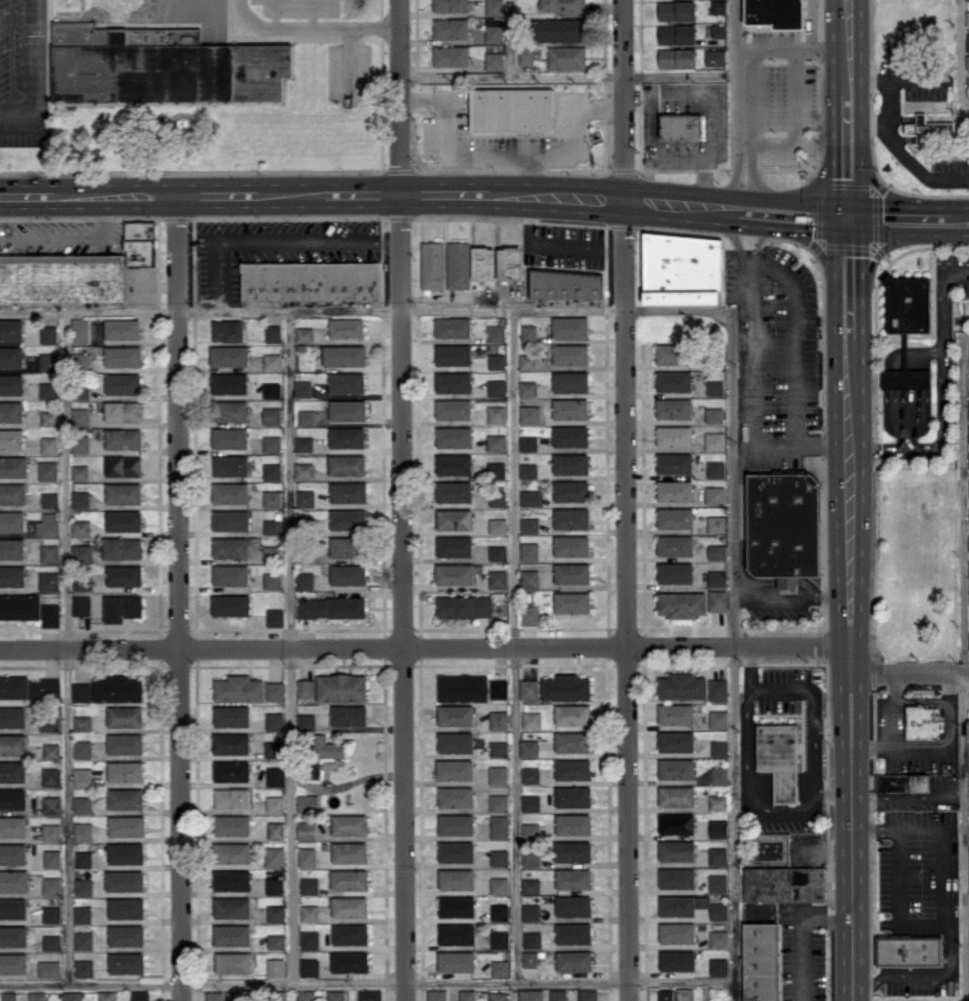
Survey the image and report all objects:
building: (450, 5)
road: (290, 6)
building: (564, 6)
building: (494, 7)
building: (676, 10)
building: (775, 11)
road: (313, 12)
road: (274, 16)
building: (967, 18)
road: (809, 24)
road: (313, 25)
building: (450, 27)
building: (490, 29)
building: (559, 29)
building: (718, 30)
building: (677, 33)
road: (511, 37)
building: (967, 42)
road: (845, 47)
road: (790, 48)
road: (959, 51)
road: (347, 54)
building: (450, 55)
road: (35, 56)
building: (525, 56)
building: (566, 57)
building: (677, 57)
building: (715, 57)
building: (493, 60)
building: (967, 61)
building: (162, 65)
road: (560, 73)
road: (735, 73)
road: (893, 78)
road: (399, 97)
road: (753, 97)
road: (623, 99)
road: (887, 101)
road: (964, 103)
building: (512, 109)
road: (17, 112)
road: (795, 121)
building: (680, 124)
building: (929, 129)
road: (576, 130)
road: (903, 152)
road: (677, 153)
road: (456, 154)
road: (846, 159)
road: (731, 175)
road: (755, 178)
traffic signals: (872, 179)
road: (887, 190)
road: (448, 194)
road: (291, 195)
road: (362, 195)
road: (117, 196)
road: (218, 196)
road: (28, 197)
road: (619, 198)
road: (794, 215)
road: (893, 221)
road: (955, 221)
traffic signals: (846, 222)
road: (732, 234)
road: (70, 236)
road: (760, 237)
road: (196, 239)
road: (291, 239)
road: (383, 240)
building: (140, 242)
road: (551, 246)
traffic signals: (817, 248)
traffic signals: (878, 252)
road: (821, 258)
road: (872, 261)
building: (483, 263)
building: (509, 263)
building: (432, 264)
building: (458, 264)
building: (682, 268)
road: (215, 276)
building: (62, 277)
road: (846, 279)
building: (309, 280)
building: (566, 284)
building: (908, 304)
road: (364, 312)
building: (570, 326)
building: (346, 327)
building: (453, 327)
building: (122, 328)
building: (11, 329)
building: (80, 330)
building: (227, 330)
building: (272, 333)
building: (495, 333)
building: (529, 333)
road: (967, 333)
building: (48, 334)
building: (304, 334)
road: (792, 339)
building: (672, 353)
building: (453, 354)
building: (570, 354)
building: (123, 355)
building: (229, 355)
building: (344, 355)
building: (11, 356)
building: (81, 359)
building: (48, 361)
building: (272, 361)
building: (527, 361)
building: (905, 378)
building: (673, 380)
building: (453, 381)
building: (570, 381)
building: (346, 382)
building: (11, 383)
building: (123, 383)
building: (229, 383)
building: (496, 387)
building: (715, 387)
building: (302, 388)
building: (527, 388)
building: (48, 389)
building: (271, 389)
road: (942, 391)
road: (751, 400)
building: (968, 404)
building: (570, 408)
building: (673, 408)
building: (348, 409)
building: (453, 409)
building: (123, 410)
building: (231, 410)
building: (11, 411)
building: (80, 414)
building: (529, 414)
building: (714, 414)
building: (272, 415)
building: (306, 416)
building: (49, 418)
building: (968, 433)
building: (673, 435)
building: (346, 436)
building: (453, 436)
building: (570, 436)
building: (229, 437)
building: (11, 438)
building: (123, 438)
building: (714, 440)
building: (496, 442)
building: (527, 442)
building: (80, 443)
building: (272, 443)
building: (304, 443)
building: (49, 444)
building: (968, 458)
building: (674, 462)
building: (570, 463)
building: (346, 464)
building: (454, 464)
building: (123, 465)
building: (230, 465)
building: (13, 466)
building: (715, 468)
building: (48, 470)
building: (271, 470)
building: (304, 470)
building: (496, 470)
building: (527, 470)
building: (79, 472)
building: (570, 490)
building: (674, 490)
building: (348, 491)
building: (453, 491)
building: (230, 492)
building: (12, 493)
building: (123, 493)
building: (714, 495)
building: (530, 497)
building: (80, 498)
building: (272, 498)
building: (305, 498)
building: (497, 498)
building: (49, 499)
building: (571, 517)
building: (674, 517)
building: (231, 519)
building: (347, 519)
building: (454, 519)
building: (11, 520)
building: (123, 520)
building: (783, 522)
building: (715, 523)
building: (47, 524)
building: (497, 525)
building: (529, 525)
building: (272, 526)
building: (80, 527)
building: (968, 539)
building: (571, 545)
building: (674, 545)
building: (345, 546)
building: (454, 546)
building: (121, 547)
building: (230, 547)
building: (11, 548)
building: (529, 550)
building: (716, 551)
building: (272, 552)
building: (497, 552)
building: (49, 553)
building: (82, 553)
building: (968, 568)
building: (571, 572)
building: (674, 572)
building: (347, 573)
building: (456, 573)
building: (230, 574)
building: (12, 575)
building: (123, 575)
building: (497, 578)
building: (529, 578)
building: (716, 578)
building: (48, 580)
building: (272, 580)
building: (304, 580)
building: (81, 582)
road: (790, 595)
road: (401, 597)
road: (178, 598)
road: (626, 599)
building: (717, 600)
building: (572, 602)
building: (681, 603)
building: (230, 604)
building: (81, 605)
building: (463, 605)
building: (122, 607)
building: (331, 607)
building: (29, 608)
building: (529, 614)
building: (275, 617)
road: (511, 646)
road: (289, 647)
road: (67, 648)
road: (424, 650)
road: (731, 655)
road: (966, 667)
road: (849, 669)
road: (909, 674)
building: (682, 686)
building: (28, 687)
building: (341, 687)
building: (462, 687)
building: (566, 687)
building: (239, 688)
building: (305, 688)
building: (498, 688)
building: (117, 689)
building: (529, 689)
building: (717, 689)
road: (799, 689)
building: (274, 690)
building: (81, 691)
road: (885, 709)
building: (675, 713)
building: (572, 714)
building: (231, 715)
building: (349, 715)
building: (455, 715)
building: (12, 716)
building: (125, 716)
building: (498, 719)
building: (531, 719)
building: (718, 719)
building: (274, 720)
building: (306, 721)
building: (922, 721)
building: (49, 723)
building: (82, 723)
building: (572, 741)
building: (675, 741)
building: (455, 742)
building: (125, 743)
building: (230, 743)
building: (12, 744)
building: (326, 747)
building: (82, 748)
building: (275, 748)
building: (498, 748)
building: (529, 748)
building: (719, 748)
building: (51, 750)
road: (900, 750)
building: (779, 758)
road: (810, 759)
building: (676, 768)
building: (313, 769)
building: (454, 769)
building: (572, 769)
building: (231, 770)
building: (12, 771)
building: (125, 771)
building: (498, 774)
building: (530, 774)
building: (718, 774)
building: (51, 776)
building: (82, 776)
building: (275, 776)
building: (902, 782)
road: (748, 785)
road: (830, 788)
building: (455, 796)
building: (572, 796)
building: (676, 796)
road: (909, 796)
building: (12, 798)
building: (125, 798)
building: (232, 798)
building: (498, 802)
building: (530, 802)
building: (717, 802)
building: (275, 803)
building: (307, 803)
building: (51, 804)
building: (82, 804)
building: (573, 823)
building: (676, 823)
building: (349, 824)
building: (455, 824)
building: (126, 825)
building: (232, 825)
building: (12, 826)
building: (499, 826)
building: (718, 828)
road: (874, 828)
building: (275, 830)
building: (306, 830)
building: (530, 830)
building: (51, 831)
building: (82, 831)
road: (821, 847)
building: (676, 850)
building: (456, 851)
building: (572, 851)
road: (943, 851)
building: (125, 852)
building: (231, 852)
building: (349, 852)
building: (13, 853)
building: (717, 855)
building: (274, 856)
building: (307, 856)
building: (499, 857)
building: (530, 857)
building: (52, 858)
building: (83, 859)
building: (676, 877)
building: (456, 878)
building: (573, 878)
building: (231, 879)
building: (348, 879)
building: (14, 880)
building: (124, 880)
building: (717, 883)
building: (784, 883)
building: (51, 885)
building: (274, 885)
building: (309, 885)
building: (499, 885)
building: (530, 885)
building: (83, 886)
road: (898, 897)
building: (573, 905)
building: (349, 906)
building: (456, 906)
building: (691, 906)
building: (13, 907)
building: (126, 907)
building: (231, 907)
building: (499, 911)
building: (309, 912)
building: (530, 912)
building: (275, 913)
building: (51, 914)
building: (82, 914)
road: (799, 931)
building: (677, 932)
building: (350, 933)
building: (456, 933)
building: (573, 933)
building: (231, 934)
building: (13, 935)
building: (126, 935)
building: (719, 938)
building: (309, 939)
building: (499, 939)
building: (532, 939)
building: (83, 940)
building: (276, 941)
building: (51, 942)
road: (950, 946)
building: (908, 950)
building: (529, 958)
building: (677, 959)
building: (456, 960)
building: (573, 960)
building: (349, 961)
building: (760, 961)
building: (13, 962)
building: (126, 962)
building: (233, 962)
building: (718, 965)
building: (275, 966)
building: (308, 966)
building: (83, 967)
building: (500, 967)
building: (48, 968)
road: (898, 973)
road: (367, 983)
building: (436, 994)
building: (531, 994)
building: (557, 994)
building: (587, 994)
building: (665, 994)
building: (684, 994)
building: (9, 995)
building: (37, 995)
building: (72, 995)
building: (106, 995)
building: (139, 995)
building: (214, 995)
building: (234, 995)
building: (306, 995)
building: (336, 995)
building: (369, 995)
building: (467, 995)
building: (498, 996)

